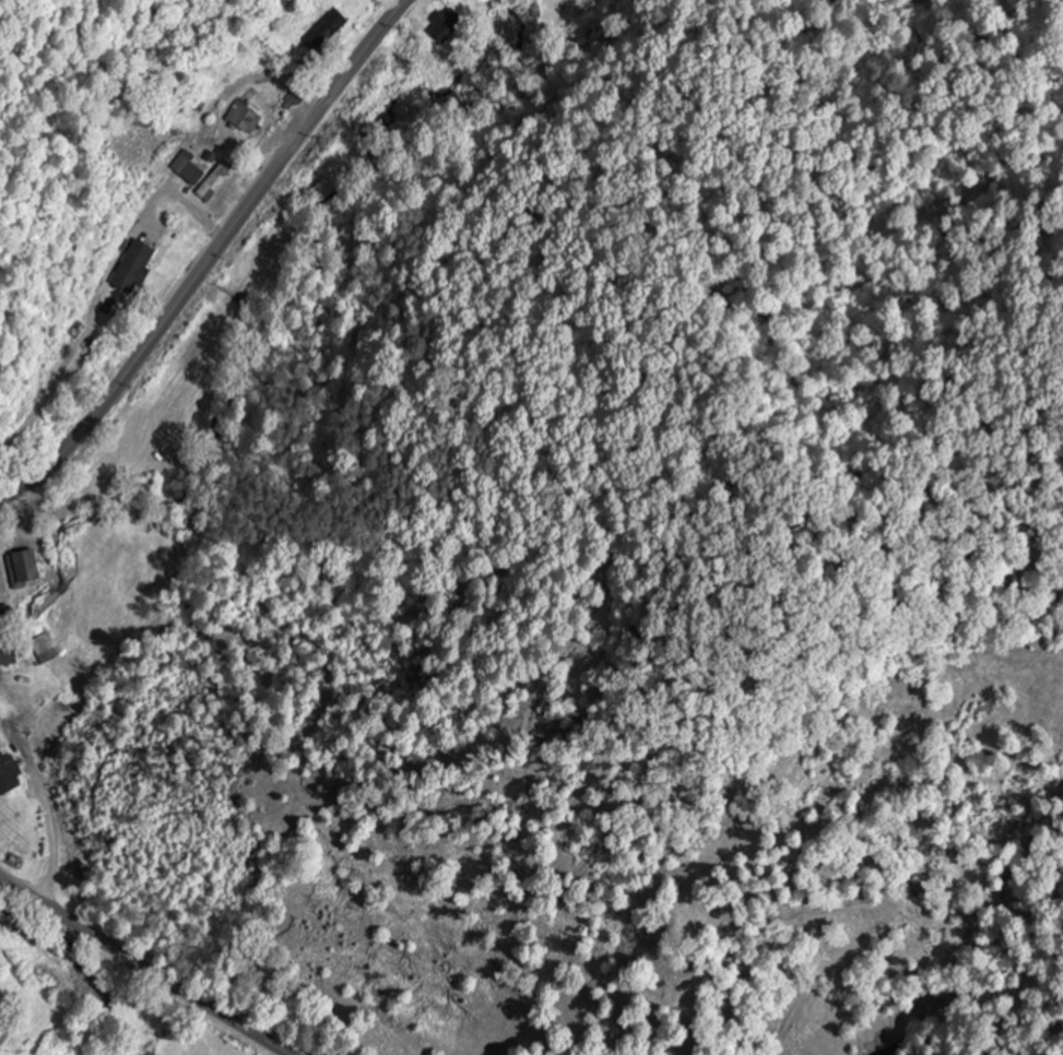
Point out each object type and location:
building: (485, 1)
building: (328, 31)
building: (445, 31)
building: (243, 118)
building: (191, 175)
road: (215, 261)
building: (133, 269)
building: (23, 569)
building: (45, 649)
building: (8, 655)
building: (9, 773)
road: (59, 917)
road: (116, 1003)
road: (198, 1004)

